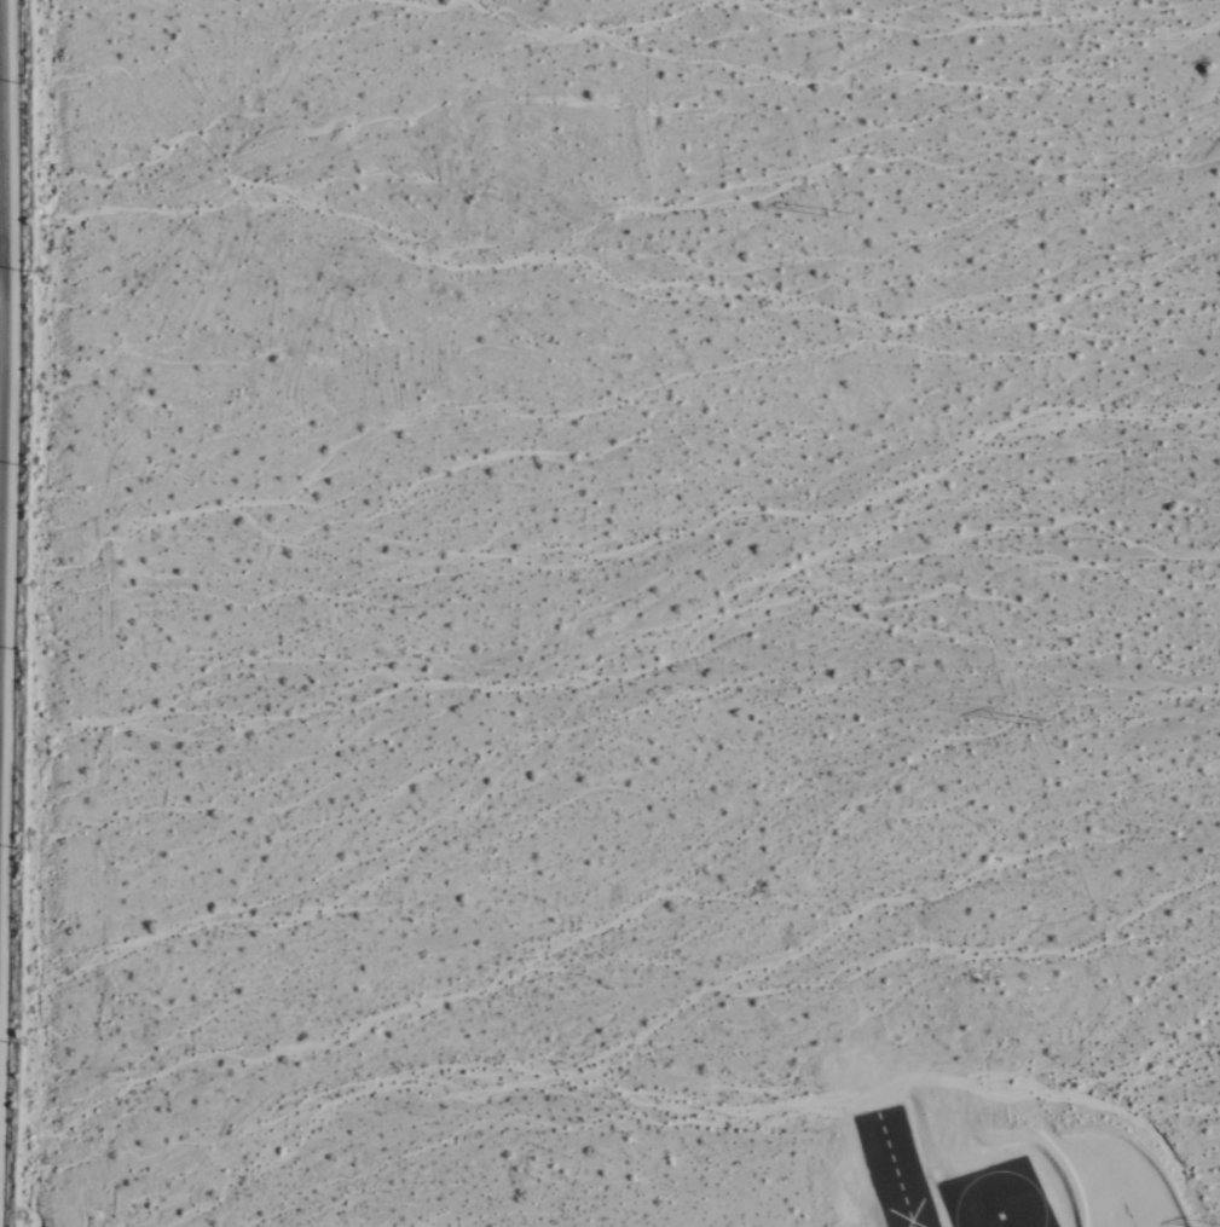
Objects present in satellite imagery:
power tower: (842, 210)
power tower: (1043, 716)
parking lot: (1105, 1183)
park: (996, 1197)

